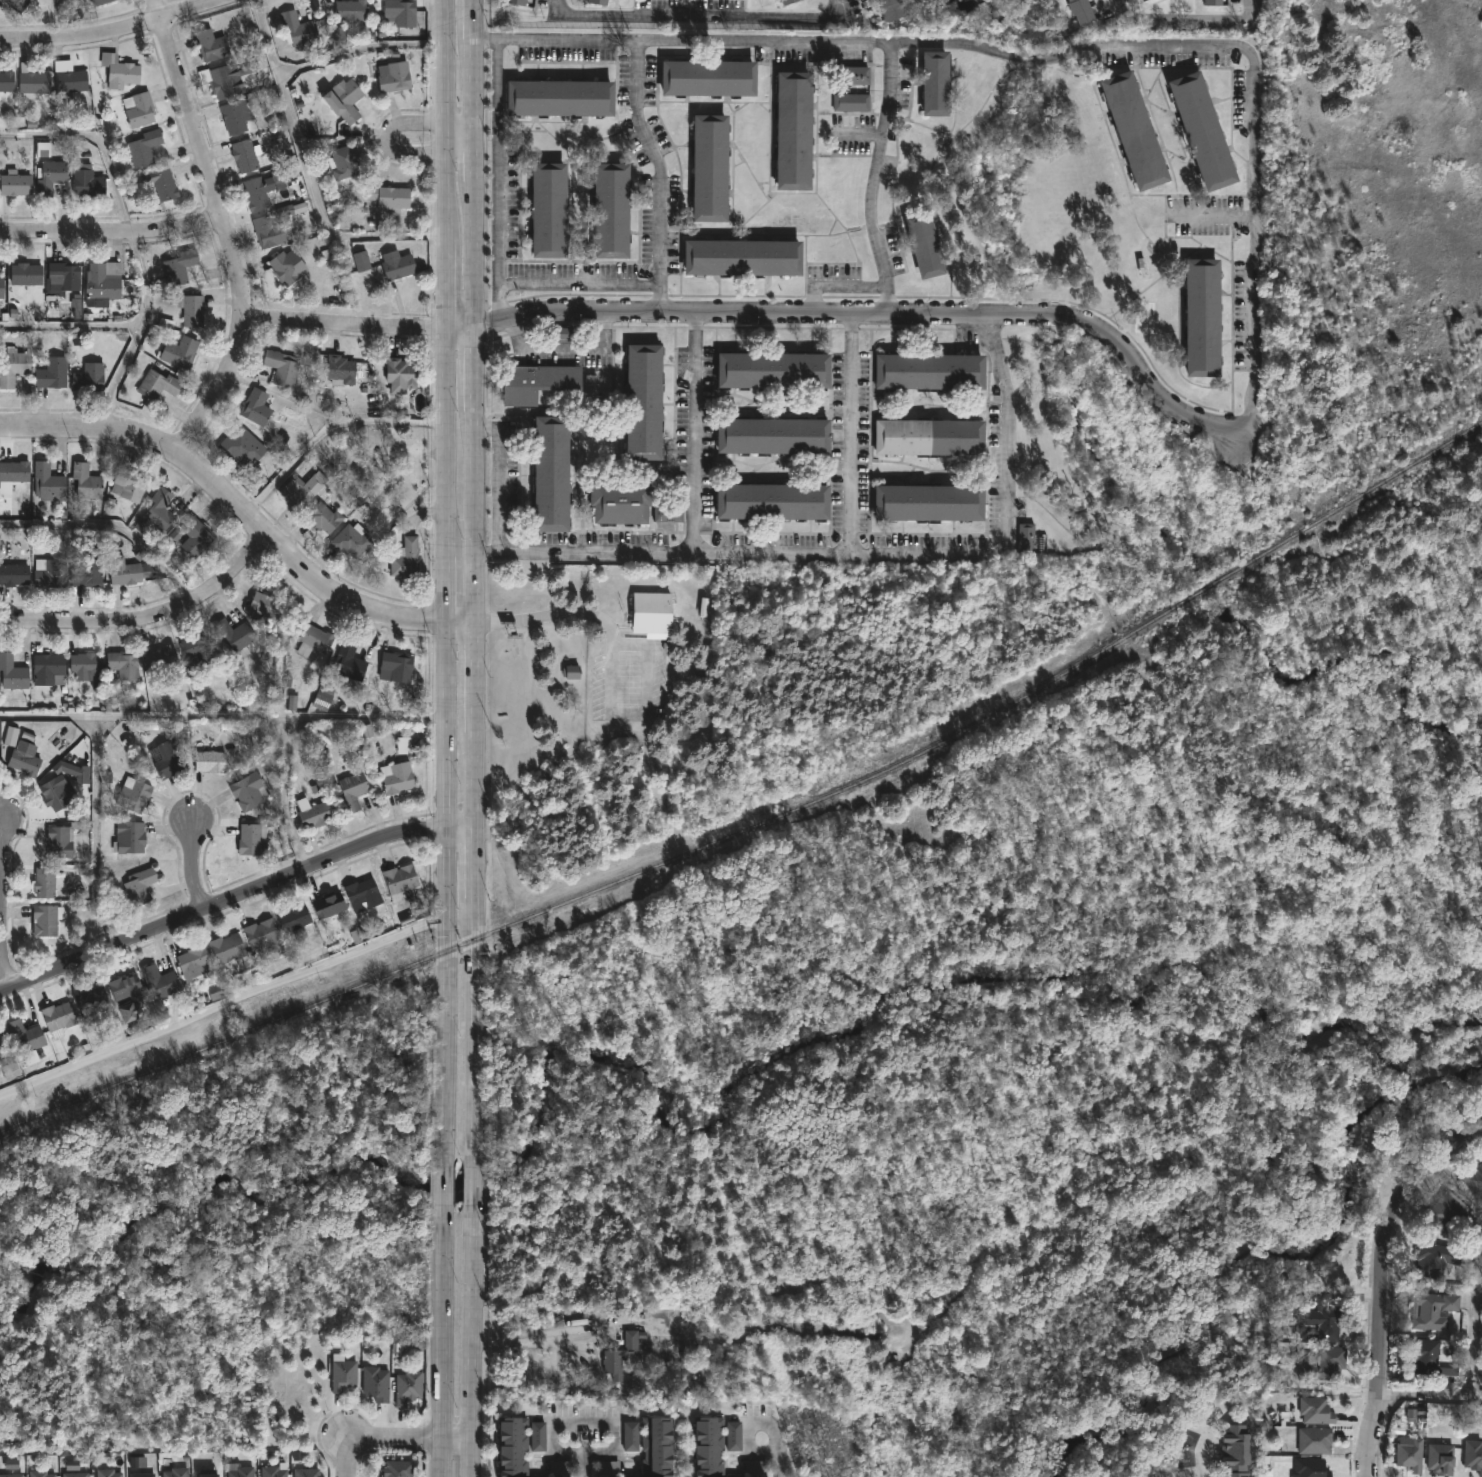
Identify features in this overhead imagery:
building: (1151, 0)
building: (100, 2)
building: (517, 2)
building: (597, 2)
building: (784, 2)
building: (1216, 2)
building: (17, 4)
building: (353, 9)
building: (889, 9)
building: (1084, 11)
building: (401, 12)
road: (65, 19)
road: (702, 19)
road: (1190, 21)
building: (299, 31)
road: (111, 33)
road: (265, 41)
building: (211, 44)
road: (1060, 55)
road: (360, 58)
building: (119, 71)
building: (856, 75)
building: (395, 76)
building: (710, 78)
building: (7, 81)
building: (221, 81)
building: (33, 82)
building: (70, 82)
building: (938, 83)
building: (561, 97)
building: (850, 100)
building: (346, 101)
building: (139, 109)
building: (233, 117)
building: (794, 130)
road: (459, 131)
building: (1136, 131)
building: (1204, 131)
road: (859, 142)
building: (144, 147)
building: (246, 155)
building: (343, 161)
road: (876, 164)
building: (711, 167)
road: (661, 175)
building: (50, 176)
road: (498, 181)
building: (16, 183)
building: (88, 183)
building: (163, 183)
building: (256, 193)
building: (389, 197)
building: (550, 210)
building: (612, 210)
road: (324, 215)
road: (1214, 215)
road: (112, 229)
road: (225, 230)
building: (268, 232)
road: (134, 235)
building: (926, 245)
building: (744, 258)
building: (362, 263)
building: (397, 265)
building: (179, 267)
building: (287, 267)
building: (26, 274)
building: (65, 274)
road: (848, 283)
building: (103, 284)
road: (579, 285)
building: (1, 287)
building: (192, 309)
road: (880, 314)
building: (1204, 318)
road: (73, 325)
road: (342, 325)
road: (460, 325)
road: (562, 349)
building: (180, 353)
building: (13, 367)
building: (282, 368)
building: (340, 370)
building: (772, 370)
building: (928, 372)
building: (401, 373)
building: (52, 374)
building: (89, 377)
building: (534, 382)
building: (158, 385)
building: (641, 400)
building: (256, 408)
road: (848, 433)
road: (329, 434)
road: (693, 434)
building: (771, 436)
building: (927, 438)
building: (240, 447)
building: (14, 473)
road: (501, 474)
building: (549, 474)
building: (86, 482)
building: (48, 483)
building: (129, 485)
building: (302, 491)
road: (231, 500)
building: (619, 502)
building: (771, 503)
building: (927, 504)
building: (156, 513)
building: (666, 514)
building: (324, 518)
road: (112, 530)
building: (196, 537)
building: (1027, 537)
building: (351, 540)
road: (856, 553)
building: (406, 558)
building: (87, 572)
building: (128, 573)
building: (14, 575)
building: (48, 575)
road: (446, 579)
road: (475, 579)
building: (265, 606)
road: (547, 613)
building: (651, 614)
road: (147, 618)
road: (461, 620)
building: (234, 636)
building: (314, 640)
building: (199, 651)
building: (162, 658)
building: (348, 663)
building: (124, 665)
building: (87, 667)
building: (396, 667)
building: (49, 669)
building: (12, 672)
building: (573, 674)
building: (323, 696)
road: (215, 719)
road: (361, 720)
building: (404, 747)
building: (167, 758)
building: (211, 761)
building: (23, 762)
building: (73, 770)
building: (397, 777)
building: (249, 790)
building: (56, 792)
building: (133, 794)
building: (352, 794)
building: (311, 815)
railway: (763, 820)
road: (461, 823)
road: (96, 836)
building: (130, 837)
building: (252, 839)
building: (60, 840)
road: (196, 865)
building: (400, 881)
building: (47, 882)
building: (140, 885)
building: (334, 892)
building: (362, 894)
road: (220, 901)
building: (328, 904)
road: (1, 905)
building: (294, 918)
building: (46, 919)
building: (263, 937)
building: (227, 948)
building: (193, 961)
building: (162, 981)
building: (215, 992)
building: (127, 995)
building: (92, 1000)
road: (223, 1003)
building: (58, 1018)
building: (25, 1036)
building: (2, 1039)
building: (9, 1067)
building: (1475, 1181)
road: (443, 1185)
road: (473, 1185)
building: (1450, 1211)
road: (1386, 1239)
building: (1433, 1260)
building: (1434, 1311)
building: (1326, 1324)
road: (1475, 1326)
road: (541, 1329)
road: (441, 1343)
road: (470, 1343)
building: (620, 1356)
building: (1435, 1358)
building: (1325, 1364)
building: (344, 1375)
building: (376, 1384)
building: (408, 1388)
road: (1432, 1396)
building: (1317, 1411)
road: (583, 1422)
road: (1373, 1435)
road: (374, 1437)
road: (455, 1437)
building: (538, 1437)
building: (630, 1437)
building: (733, 1437)
building: (1316, 1441)
building: (653, 1447)
building: (708, 1447)
building: (512, 1448)
building: (1237, 1451)
road: (1202, 1452)
building: (1411, 1454)
building: (1474, 1455)
building: (1442, 1459)
road: (773, 1461)
building: (138, 1463)
road: (582, 1464)
building: (608, 1467)
building: (1312, 1468)
building: (397, 1469)
building: (73, 1470)
building: (240, 1471)
building: (176, 1472)
building: (273, 1472)
building: (107, 1473)
building: (306, 1473)
building: (40, 1474)
building: (143, 1475)
building: (1481, 1475)
building: (11, 1476)
building: (208, 1476)

